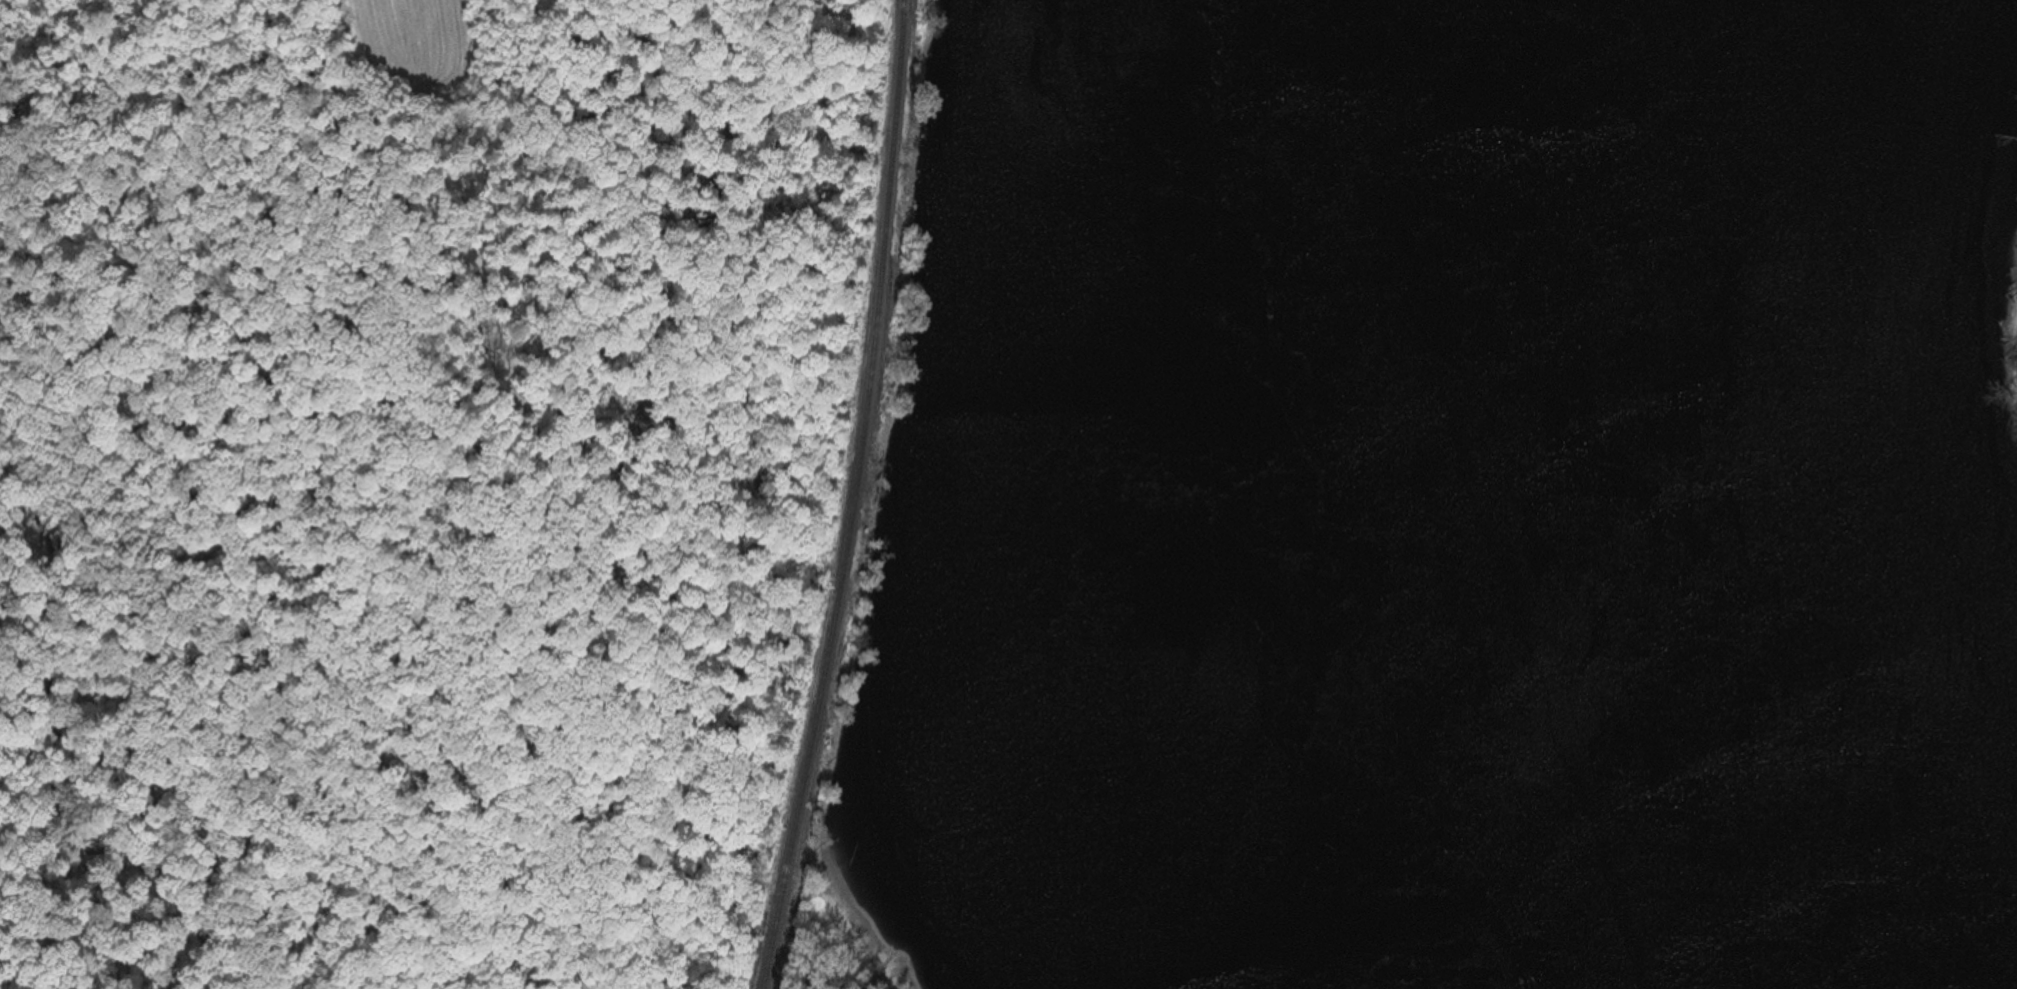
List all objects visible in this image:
railway: (854, 497)
river: (1623, 503)
park: (400, 947)

